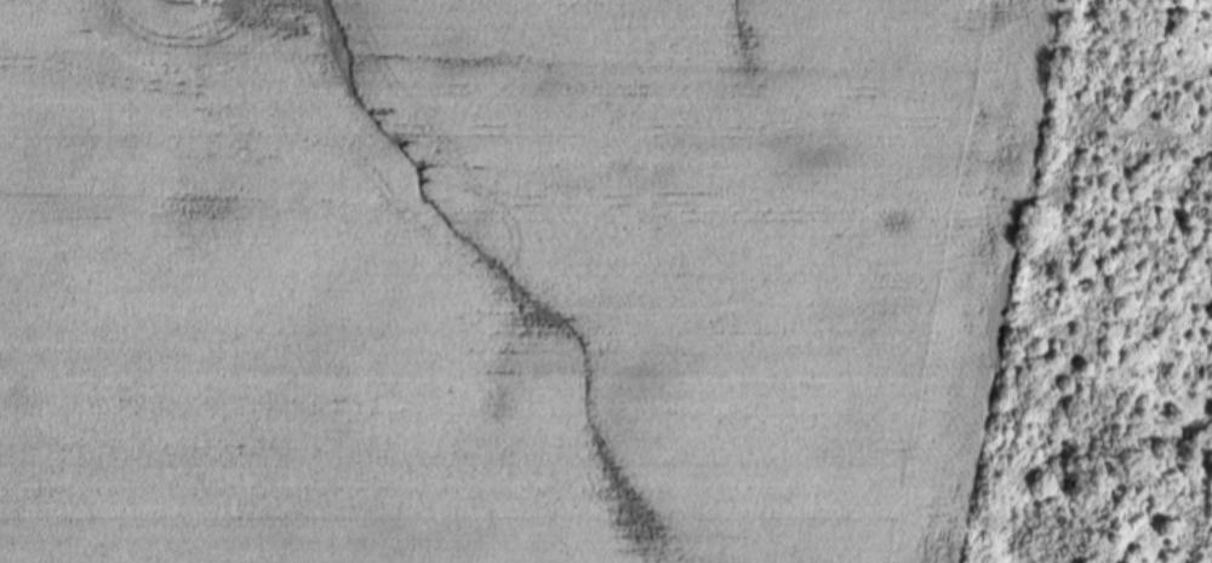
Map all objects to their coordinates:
crop: (507, 276)

